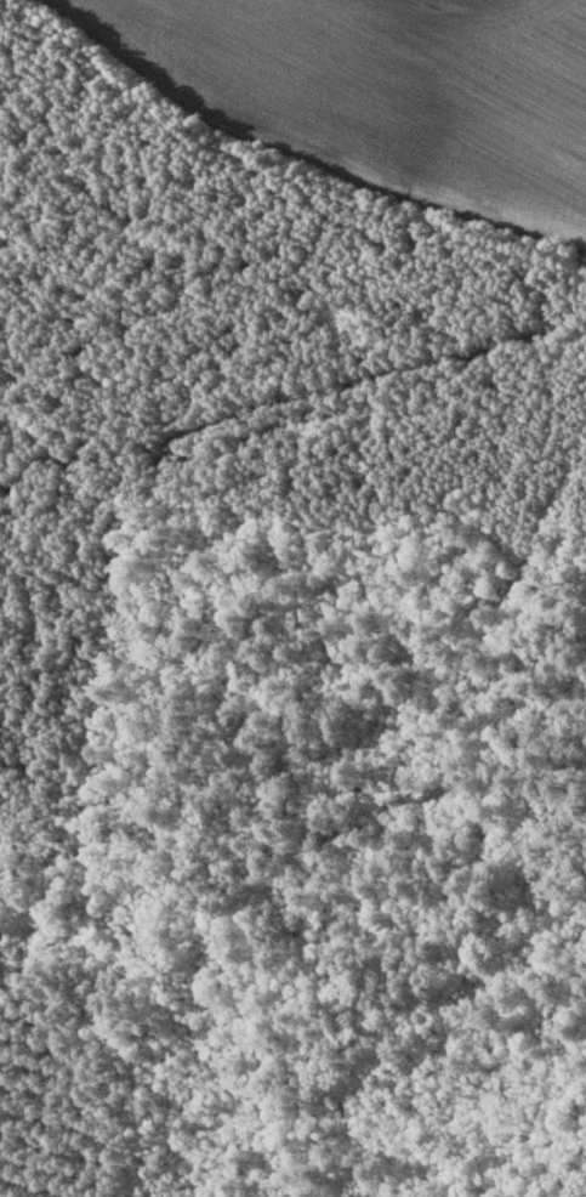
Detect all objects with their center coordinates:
crop: (386, 90)

